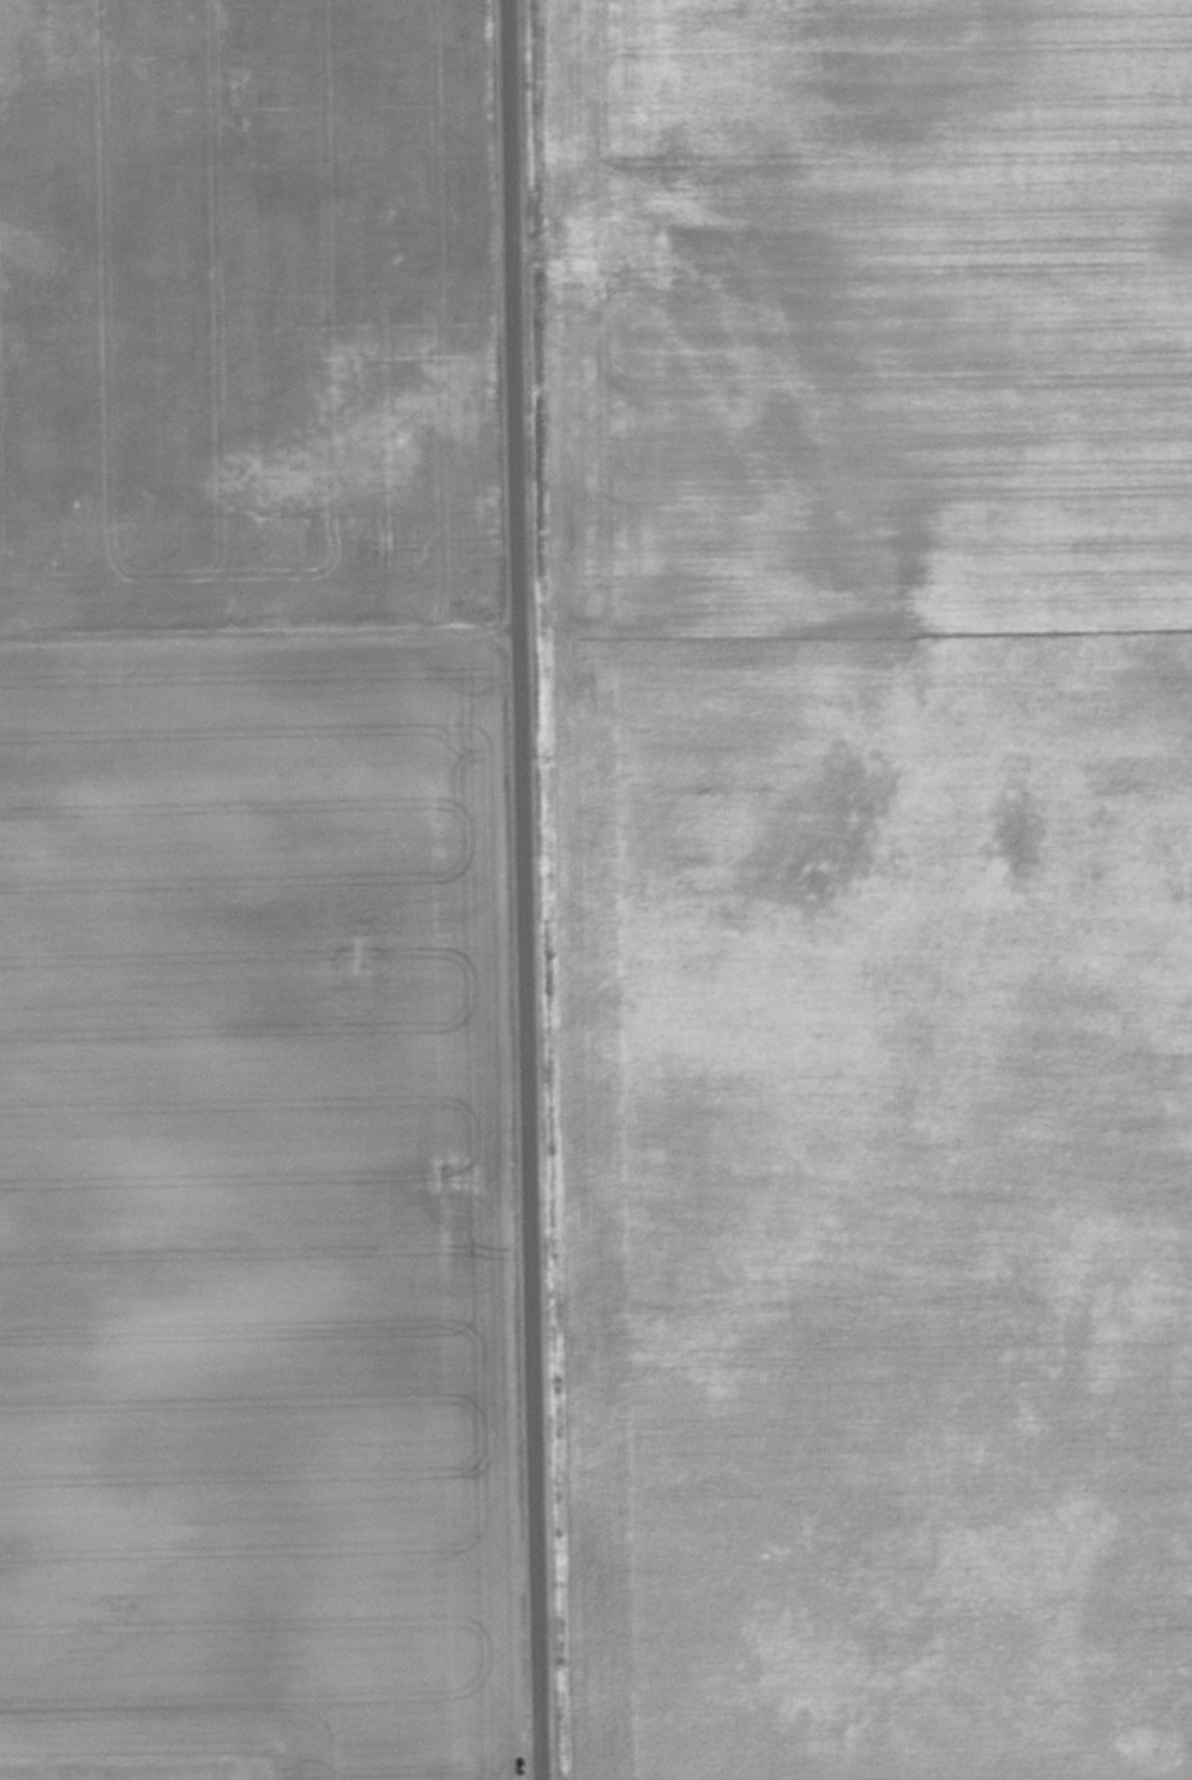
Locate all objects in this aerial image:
road: (528, 890)

